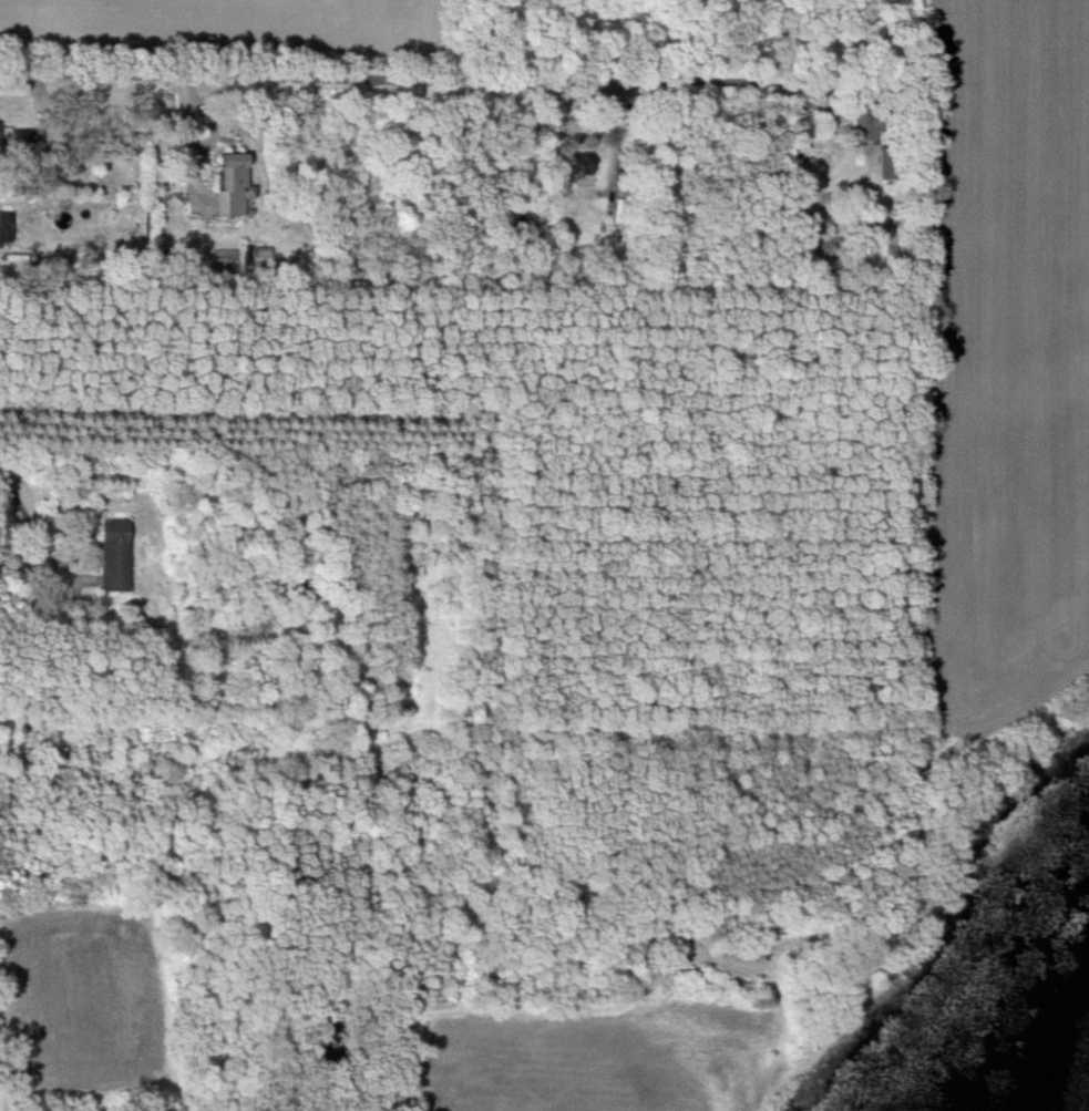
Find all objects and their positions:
road: (440, 81)
building: (871, 121)
building: (1, 135)
building: (579, 163)
building: (234, 184)
building: (6, 226)
road: (38, 541)
building: (116, 555)
building: (164, 669)
road: (422, 1011)

